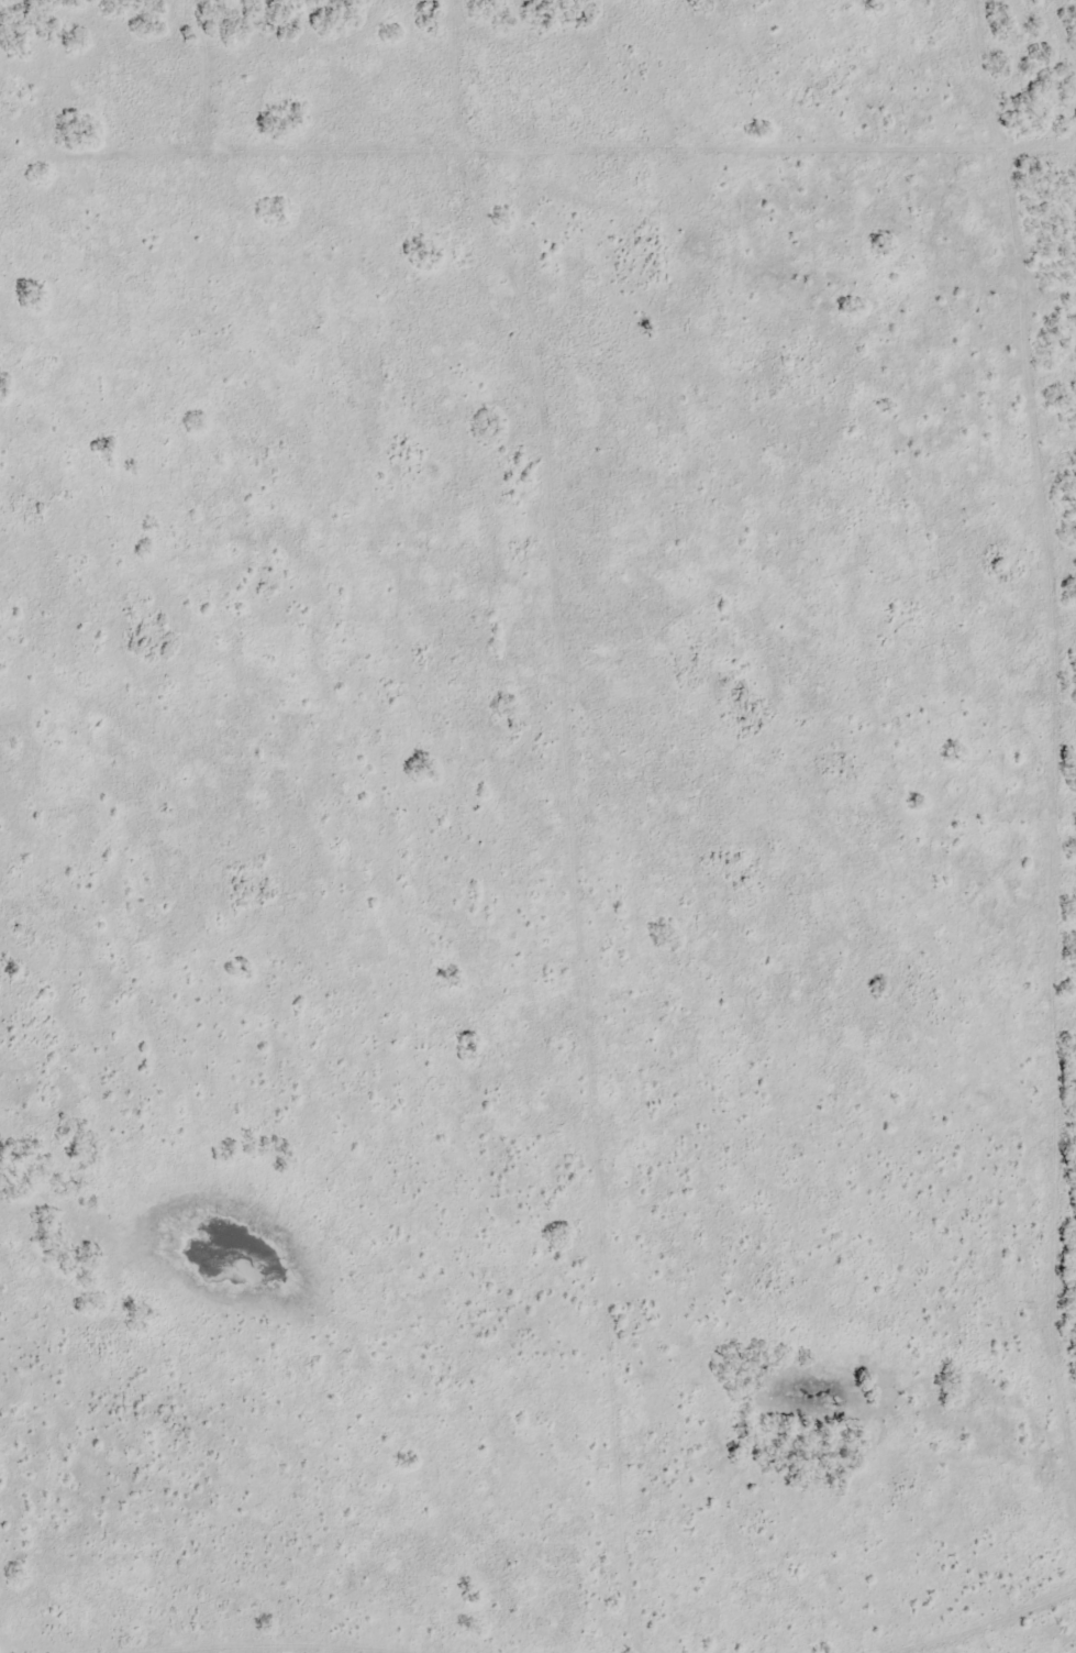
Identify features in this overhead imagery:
road: (909, 1583)
road: (212, 1597)

